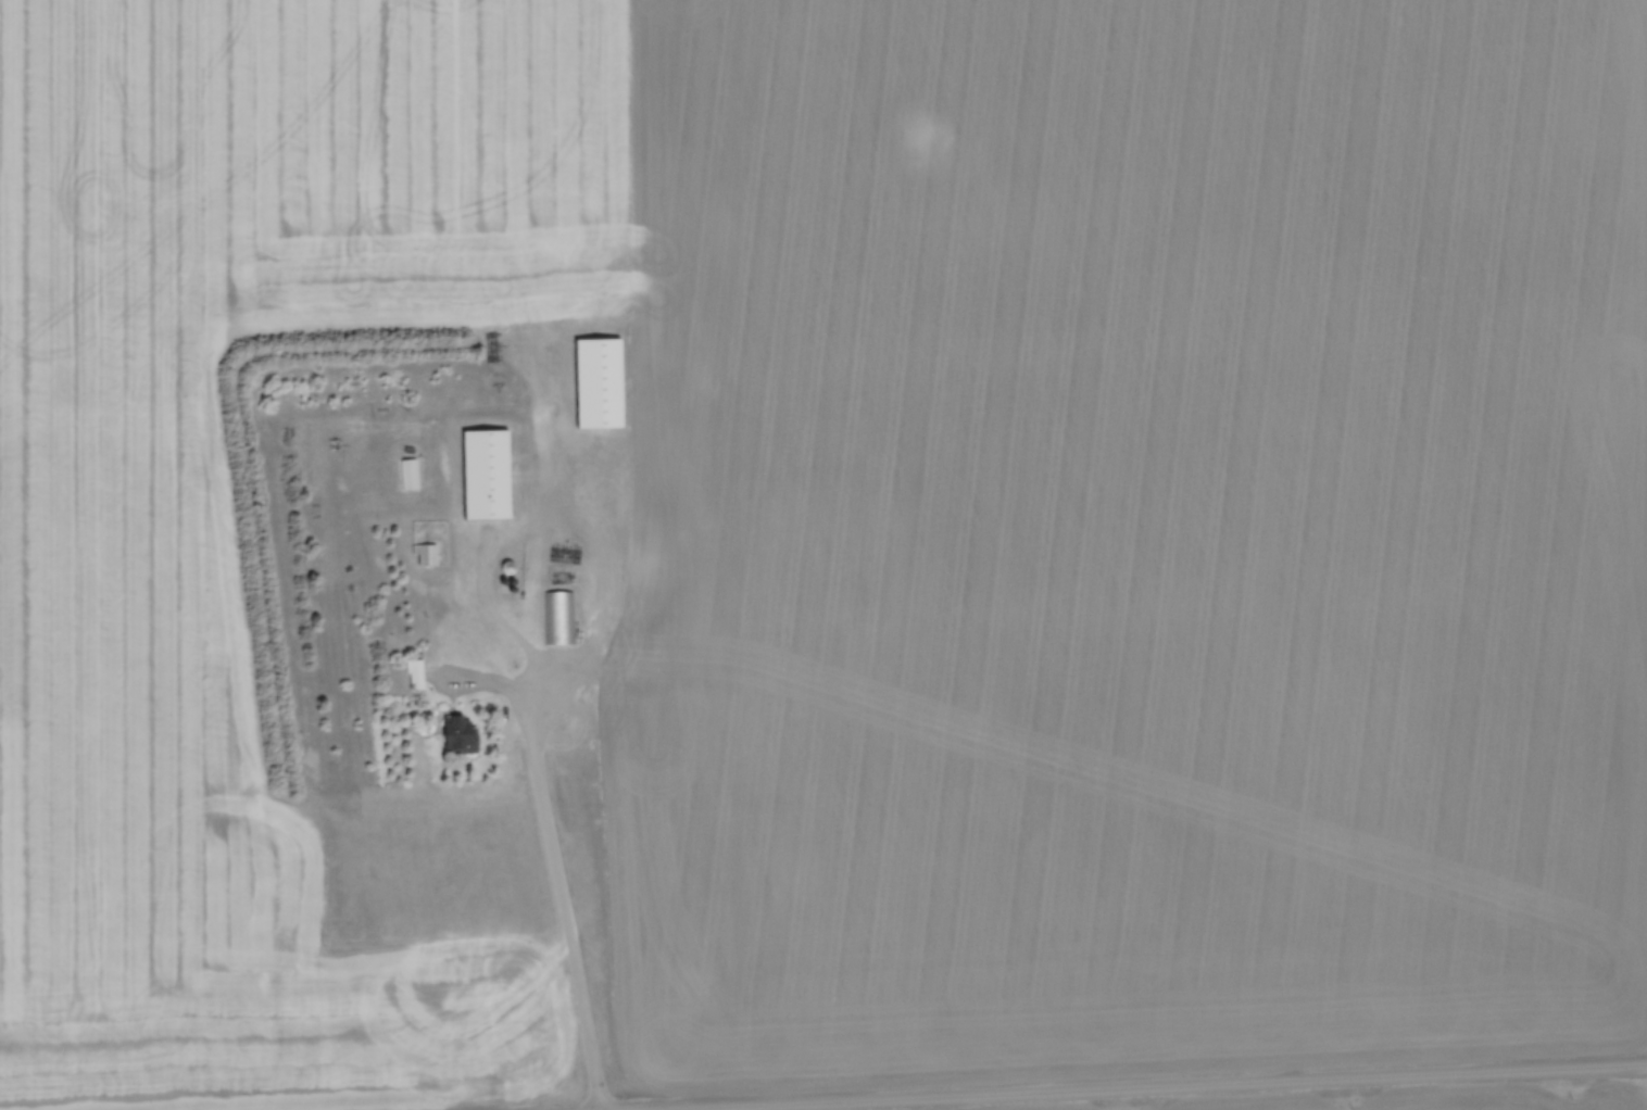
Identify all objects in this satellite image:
building: (411, 472)
building: (487, 472)
crop: (855, 534)
building: (429, 552)
silo: (511, 565)
building: (511, 568)
building: (557, 616)
building: (417, 671)
building: (462, 733)
park: (423, 745)
road: (548, 855)
road: (1178, 1087)
crop: (1434, 1100)

